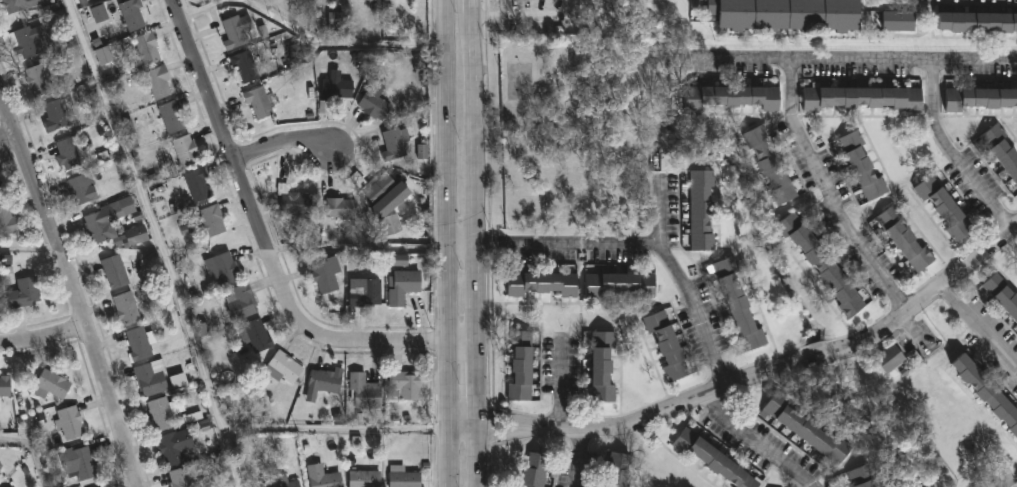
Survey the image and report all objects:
building: (12, 5)
building: (132, 14)
building: (786, 14)
road: (514, 15)
building: (898, 19)
building: (977, 22)
building: (234, 33)
building: (27, 40)
road: (309, 45)
building: (147, 47)
road: (861, 57)
building: (245, 66)
building: (37, 80)
building: (158, 81)
building: (337, 88)
building: (732, 96)
building: (863, 98)
building: (979, 98)
building: (373, 101)
building: (261, 102)
building: (54, 115)
building: (172, 117)
road: (794, 133)
road: (6, 134)
building: (394, 143)
road: (285, 147)
building: (1001, 149)
building: (185, 151)
road: (950, 152)
building: (67, 153)
building: (769, 164)
building: (861, 166)
building: (0, 182)
building: (197, 185)
building: (374, 186)
building: (81, 189)
building: (292, 201)
building: (341, 208)
building: (947, 209)
road: (660, 210)
building: (701, 210)
building: (107, 218)
building: (7, 220)
building: (211, 220)
building: (391, 224)
road: (265, 229)
building: (134, 235)
building: (905, 239)
road: (159, 241)
road: (460, 241)
road: (446, 243)
road: (475, 243)
road: (643, 243)
road: (359, 248)
road: (30, 251)
road: (864, 255)
building: (399, 262)
building: (822, 265)
building: (223, 269)
building: (116, 272)
building: (325, 275)
building: (619, 282)
building: (542, 283)
building: (402, 286)
road: (76, 291)
building: (24, 292)
building: (366, 294)
building: (1002, 294)
building: (241, 303)
building: (738, 305)
building: (126, 308)
road: (977, 326)
building: (257, 335)
road: (461, 338)
road: (45, 341)
building: (138, 342)
building: (665, 345)
building: (890, 357)
building: (283, 365)
building: (520, 366)
building: (600, 367)
road: (763, 372)
building: (151, 376)
building: (323, 379)
building: (51, 383)
building: (403, 384)
building: (5, 385)
road: (561, 385)
building: (986, 389)
building: (364, 390)
building: (162, 412)
building: (69, 422)
road: (332, 428)
road: (462, 428)
building: (803, 428)
road: (754, 442)
building: (170, 447)
road: (33, 454)
road: (580, 457)
building: (712, 459)
building: (79, 462)
building: (0, 466)
building: (0, 469)
building: (537, 470)
building: (616, 470)
building: (323, 476)
building: (858, 476)
building: (180, 477)
building: (403, 477)
building: (364, 478)
building: (284, 482)
building: (99, 486)

